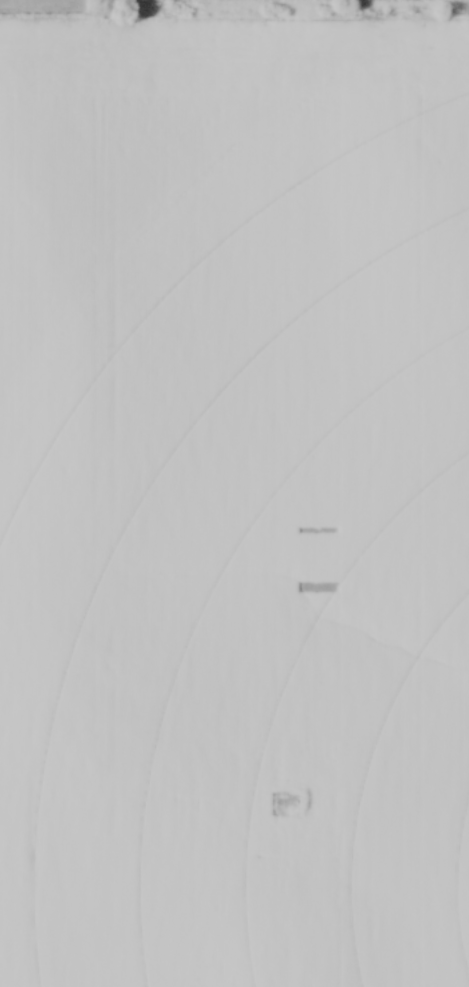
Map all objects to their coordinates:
park: (62, 7)

